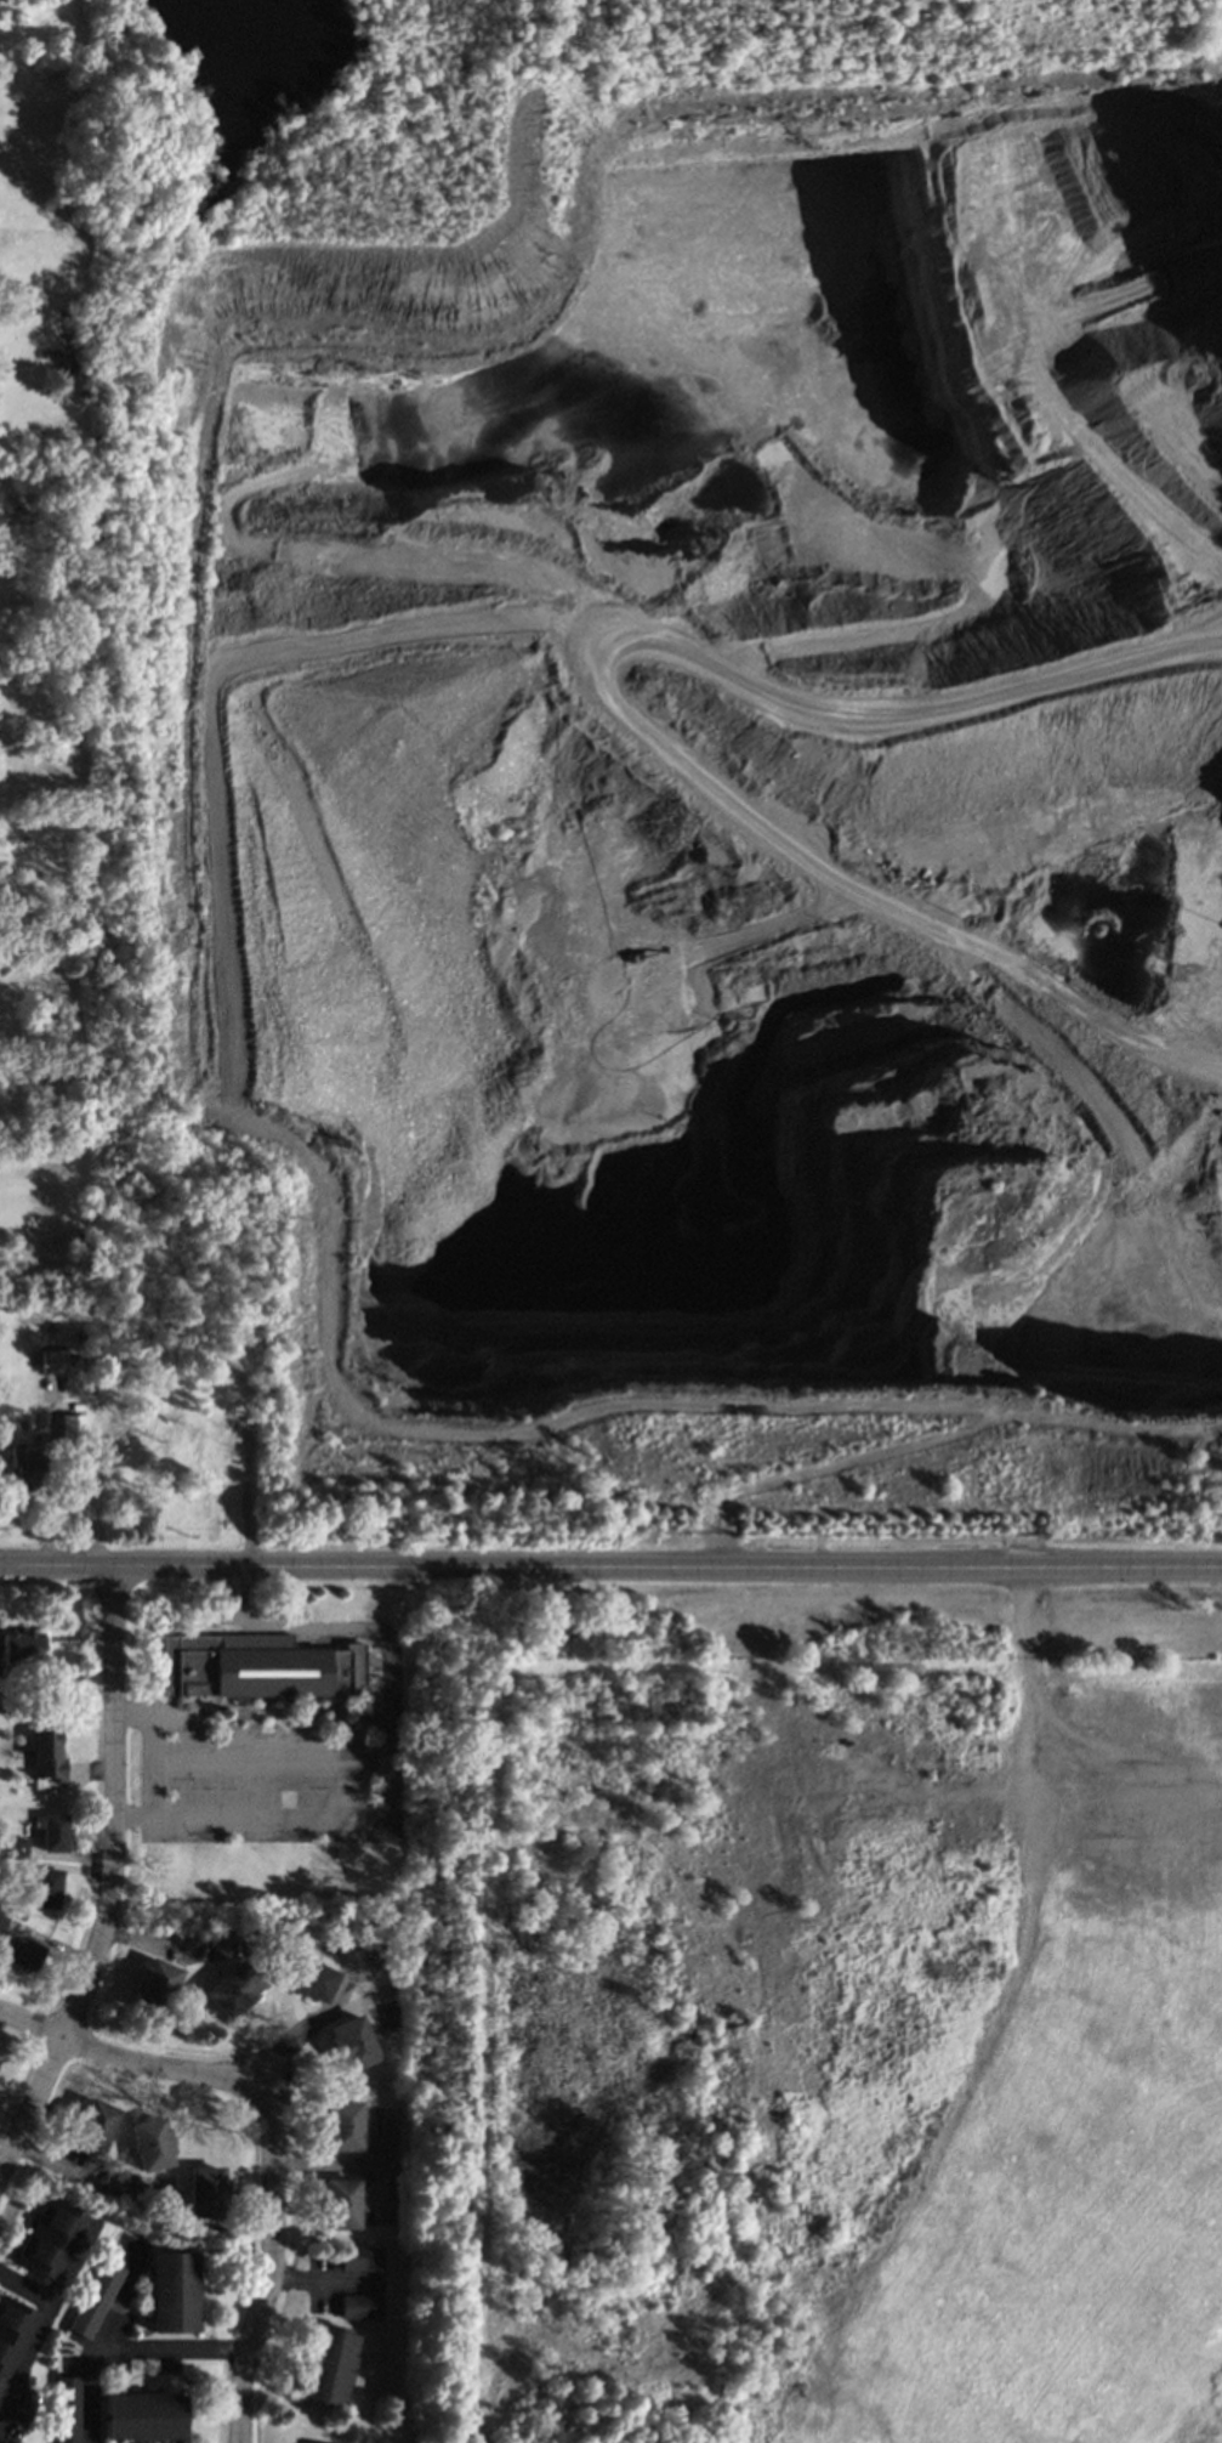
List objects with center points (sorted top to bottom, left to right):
road: (709, 628)
road: (188, 665)
quarry: (757, 771)
building: (52, 1361)
road: (1107, 1419)
building: (72, 1424)
road: (945, 1429)
building: (24, 1467)
road: (49, 1486)
road: (610, 1568)
road: (308, 1632)
building: (19, 1646)
building: (245, 1673)
road: (166, 1717)
road: (342, 1721)
road: (234, 1733)
road: (278, 1735)
road: (143, 1755)
building: (46, 1756)
road: (359, 1762)
road: (243, 1767)
parking lot: (266, 1775)
road: (342, 1795)
road: (302, 1824)
building: (53, 1832)
building: (13, 1846)
road: (110, 1881)
building: (46, 1887)
building: (2, 1921)
building: (23, 1952)
building: (306, 1967)
building: (158, 1974)
building: (235, 1979)
building: (354, 2035)
airport: (831, 2045)
road: (131, 2065)
building: (93, 2120)
building: (342, 2120)
building: (149, 2136)
building: (203, 2183)
building: (342, 2194)
building: (46, 2231)
building: (360, 2257)
road: (271, 2261)
building: (172, 2292)
building: (95, 2299)
road: (119, 2301)
building: (360, 2307)
building: (11, 2335)
road: (35, 2336)
road: (123, 2347)
building: (333, 2357)
building: (67, 2409)
building: (142, 2416)
building: (333, 2441)

